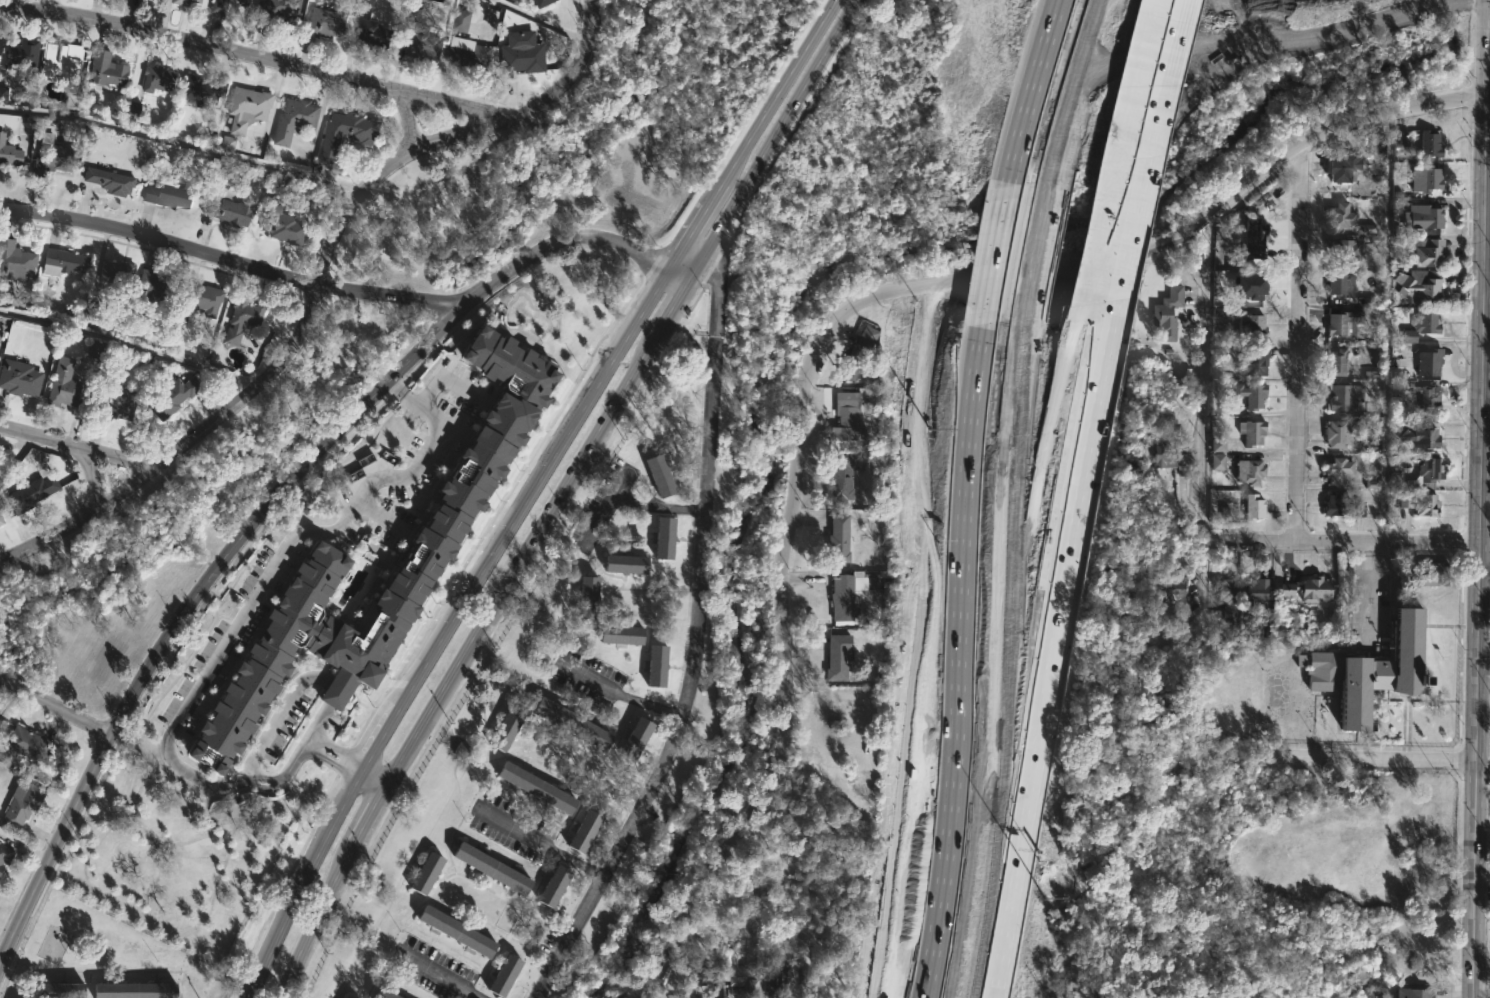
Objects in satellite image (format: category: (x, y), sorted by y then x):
building: (184, 2)
building: (365, 2)
building: (541, 3)
building: (224, 6)
building: (277, 12)
building: (458, 20)
road: (545, 21)
building: (324, 23)
building: (1163, 30)
building: (370, 36)
building: (419, 42)
road: (200, 44)
building: (520, 53)
building: (19, 54)
building: (57, 58)
building: (467, 58)
building: (105, 70)
building: (153, 79)
road: (1488, 87)
road: (780, 90)
building: (199, 91)
building: (3, 94)
road: (1043, 101)
road: (456, 104)
building: (245, 108)
road: (528, 108)
building: (132, 109)
road: (1142, 110)
building: (292, 121)
road: (408, 124)
building: (344, 133)
building: (1401, 139)
road: (770, 141)
road: (184, 142)
building: (227, 143)
building: (1376, 144)
building: (1430, 145)
park: (565, 150)
building: (9, 153)
building: (50, 156)
building: (1343, 167)
road: (1147, 171)
building: (1426, 177)
building: (107, 181)
building: (167, 194)
building: (227, 210)
road: (349, 213)
building: (1341, 216)
building: (1423, 217)
building: (281, 224)
road: (697, 226)
road: (559, 238)
building: (1255, 239)
road: (160, 240)
building: (1344, 251)
building: (1428, 253)
building: (14, 261)
building: (61, 261)
building: (114, 274)
road: (1487, 276)
road: (676, 277)
road: (999, 278)
road: (1106, 282)
building: (1340, 285)
building: (1419, 286)
building: (152, 288)
road: (390, 293)
building: (202, 300)
road: (668, 311)
building: (1168, 313)
building: (91, 316)
building: (240, 319)
building: (1345, 325)
building: (1252, 326)
building: (1422, 327)
road: (829, 330)
road: (1298, 341)
road: (131, 344)
building: (95, 350)
building: (858, 353)
building: (1255, 361)
building: (1337, 362)
building: (1428, 363)
building: (18, 378)
building: (61, 384)
building: (171, 394)
building: (1252, 394)
building: (857, 397)
building: (1342, 398)
building: (1428, 400)
building: (113, 401)
road: (1201, 410)
building: (847, 425)
building: (1252, 431)
building: (1341, 434)
building: (1419, 436)
building: (1218, 443)
road: (79, 447)
road: (184, 447)
road: (16, 455)
building: (1171, 456)
building: (1217, 461)
building: (1250, 470)
building: (1429, 470)
building: (1337, 471)
building: (660, 475)
building: (843, 480)
building: (1402, 482)
road: (89, 483)
building: (31, 491)
road: (1481, 499)
road: (655, 506)
building: (1255, 506)
building: (1421, 506)
building: (1341, 508)
park: (176, 518)
building: (1, 521)
building: (666, 538)
building: (839, 538)
road: (1340, 541)
building: (431, 546)
road: (518, 563)
building: (625, 564)
road: (273, 565)
building: (1429, 574)
building: (1308, 589)
building: (1258, 590)
building: (1176, 591)
road: (1366, 592)
building: (847, 593)
building: (1226, 595)
building: (588, 596)
road: (185, 607)
road: (448, 628)
building: (1252, 628)
road: (698, 633)
building: (622, 636)
building: (839, 656)
building: (657, 667)
road: (1035, 670)
road: (1051, 670)
building: (1372, 670)
road: (935, 674)
road: (4, 694)
road: (622, 696)
road: (55, 707)
road: (1482, 716)
road: (275, 721)
building: (570, 722)
building: (504, 729)
building: (634, 737)
building: (28, 742)
road: (305, 742)
road: (1366, 760)
road: (291, 763)
road: (376, 782)
road: (1338, 784)
building: (535, 787)
building: (17, 805)
road: (373, 819)
building: (797, 827)
building: (584, 832)
road: (543, 842)
building: (4, 853)
building: (0, 866)
building: (491, 868)
building: (426, 874)
building: (553, 886)
road: (321, 923)
building: (457, 931)
road: (740, 937)
road: (807, 968)
building: (697, 972)
building: (503, 973)
building: (714, 975)
road: (444, 976)
building: (741, 976)
building: (774, 981)
building: (60, 989)
building: (134, 989)
building: (384, 993)
building: (1414, 993)
building: (348, 997)

